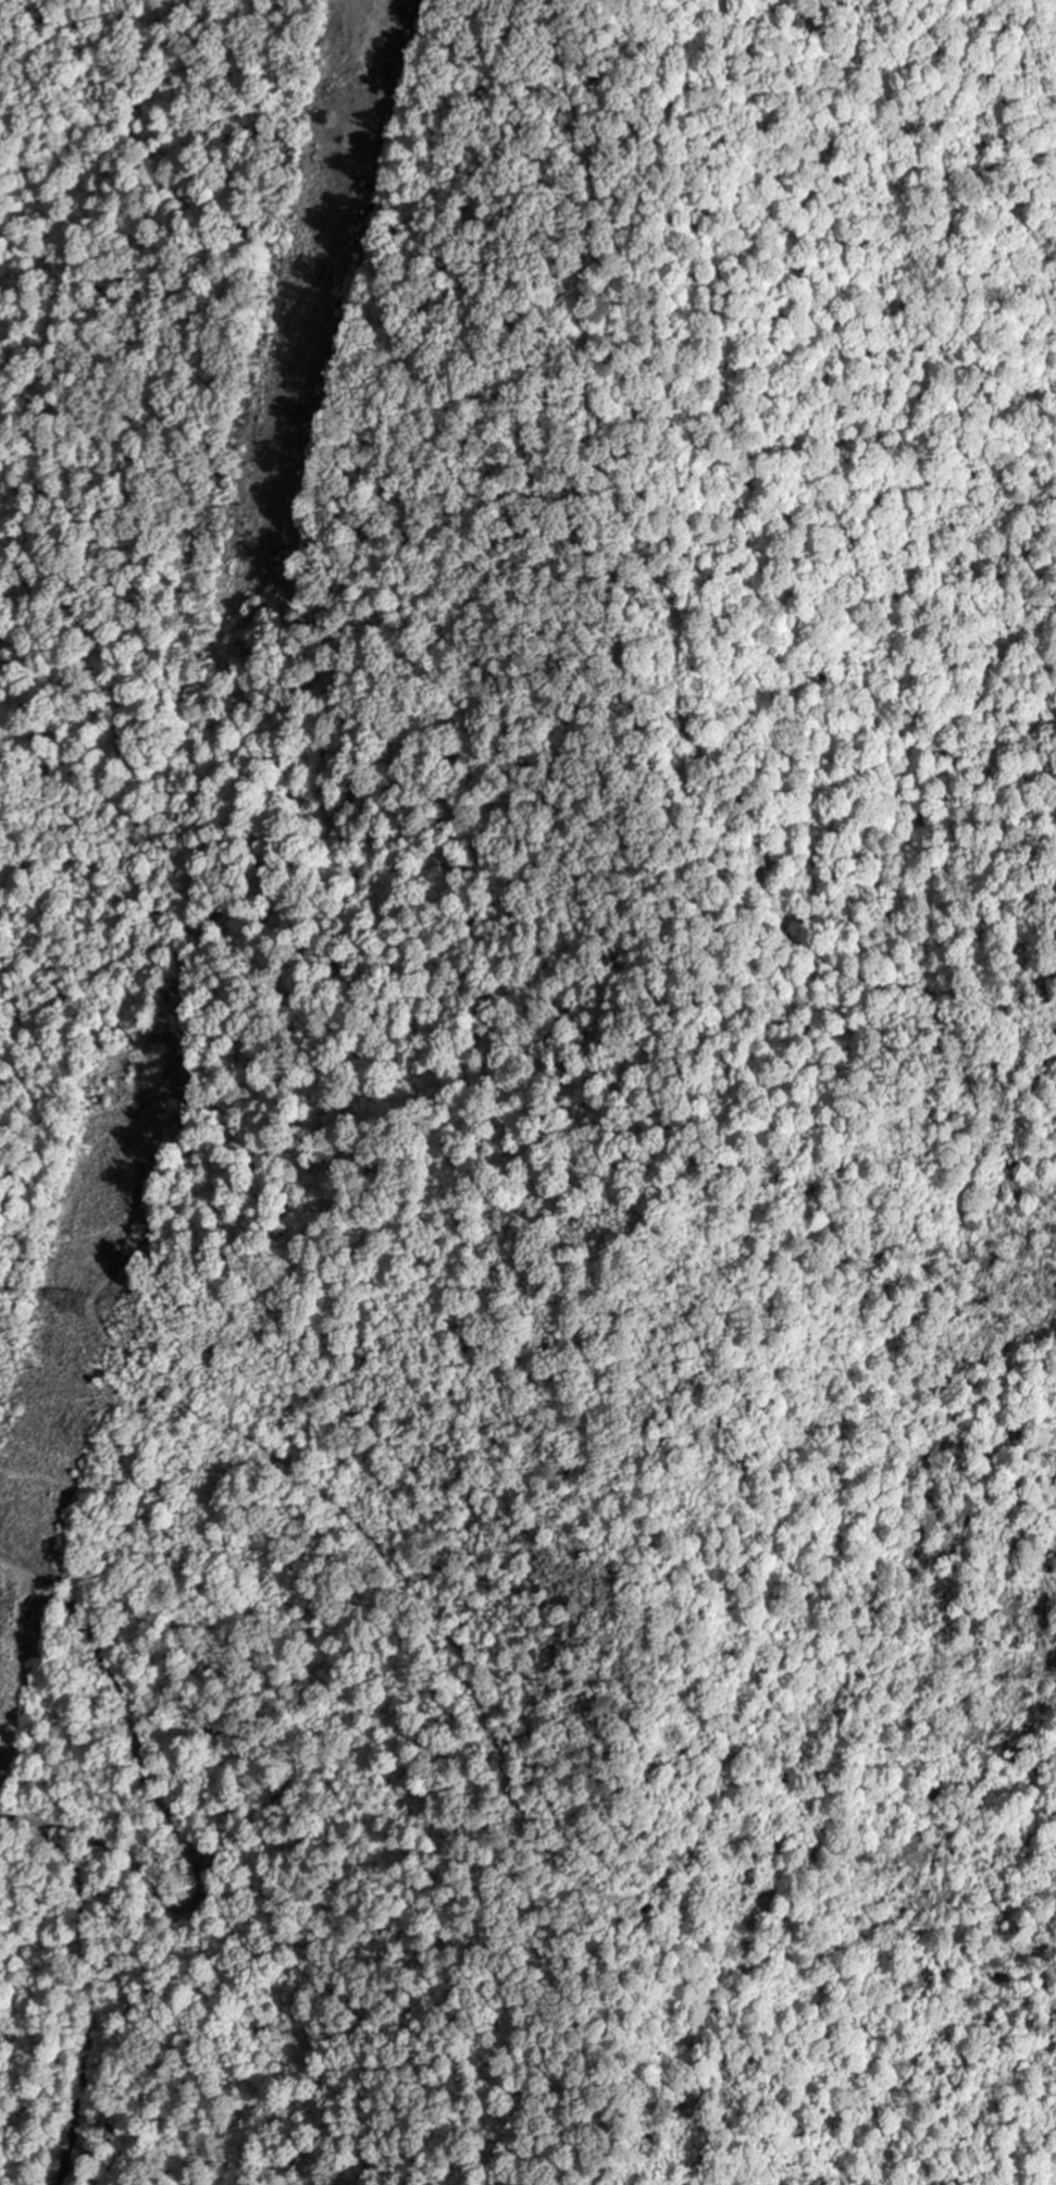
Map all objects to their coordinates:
power tower: (91, 1303)

